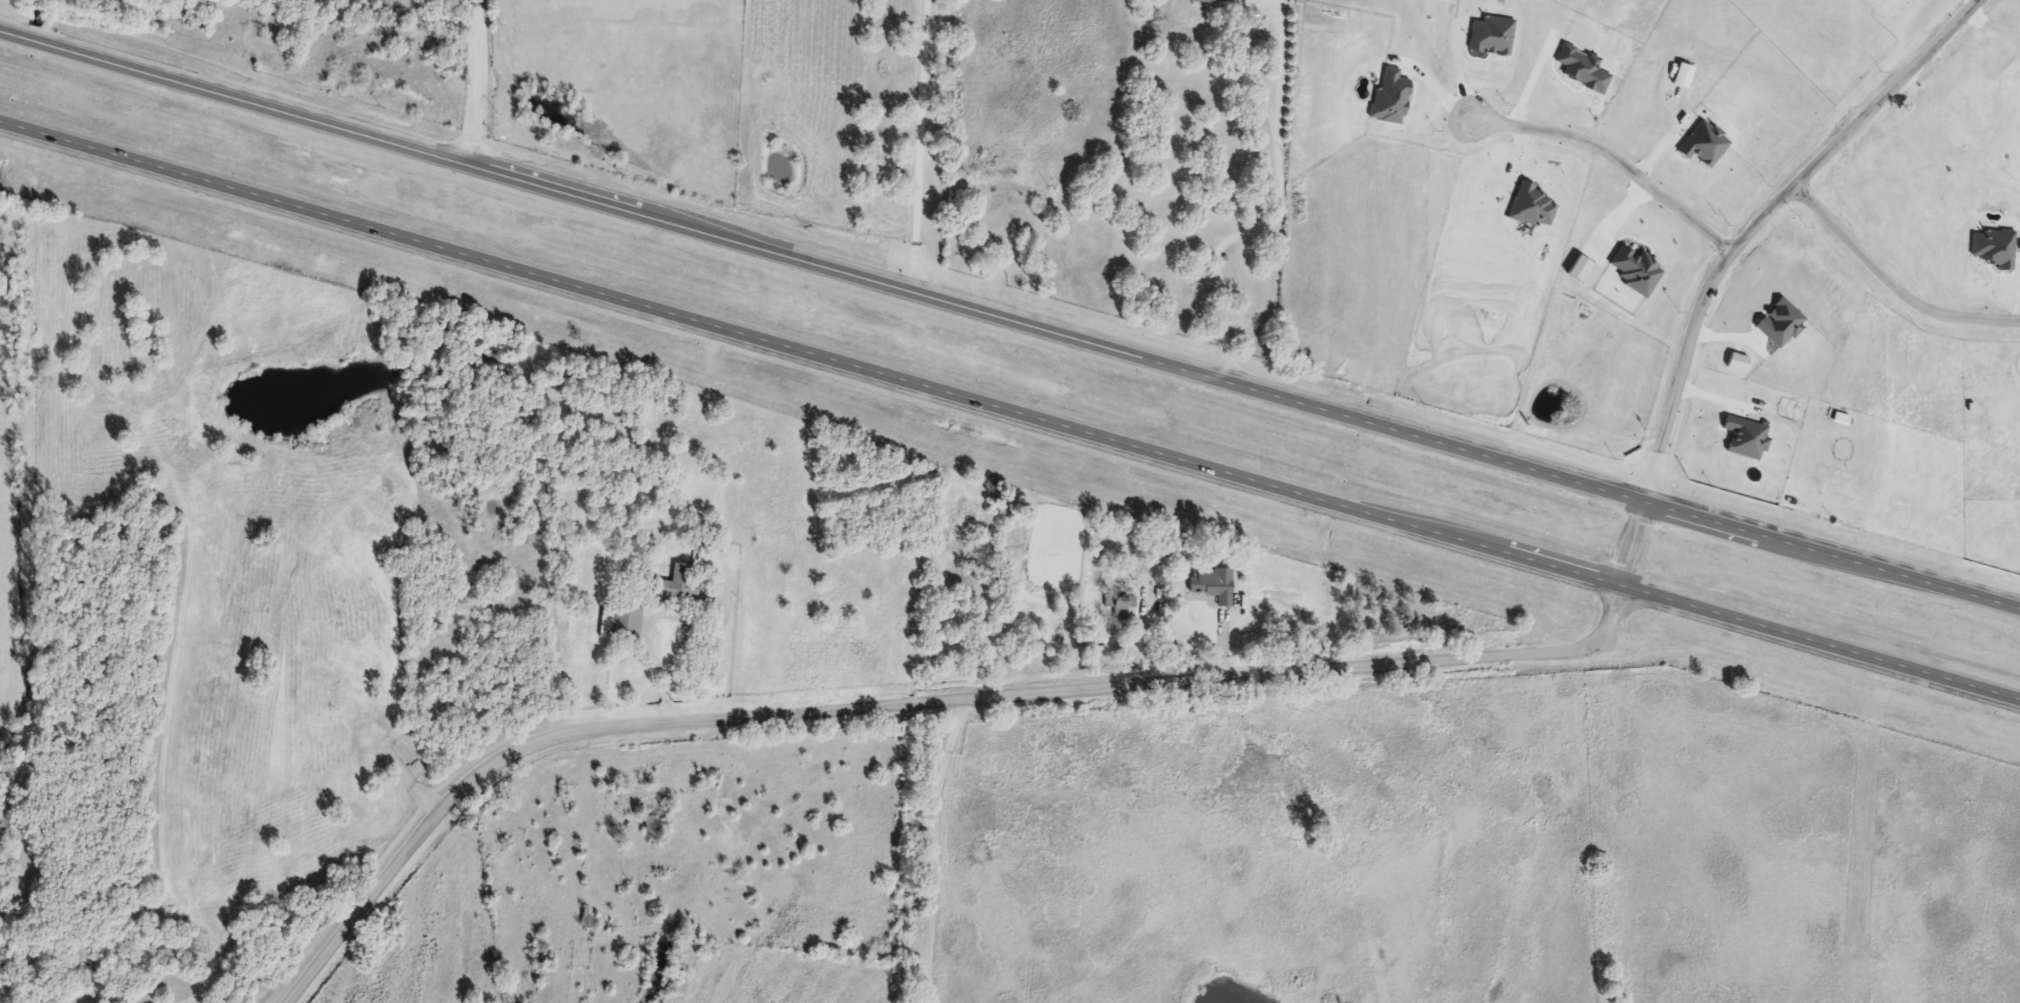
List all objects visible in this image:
road: (1994, 26)
road: (479, 79)
road: (921, 145)
road: (1617, 159)
road: (1274, 217)
road: (1757, 220)
road: (823, 263)
road: (1890, 280)
road: (811, 354)
road: (1633, 547)
road: (1827, 559)
building: (678, 584)
building: (1210, 584)
building: (1116, 606)
road: (2014, 612)
building: (619, 623)
road: (651, 628)
road: (1607, 631)
road: (1821, 645)
road: (874, 711)
building: (647, 826)
road: (930, 852)
building: (586, 921)

